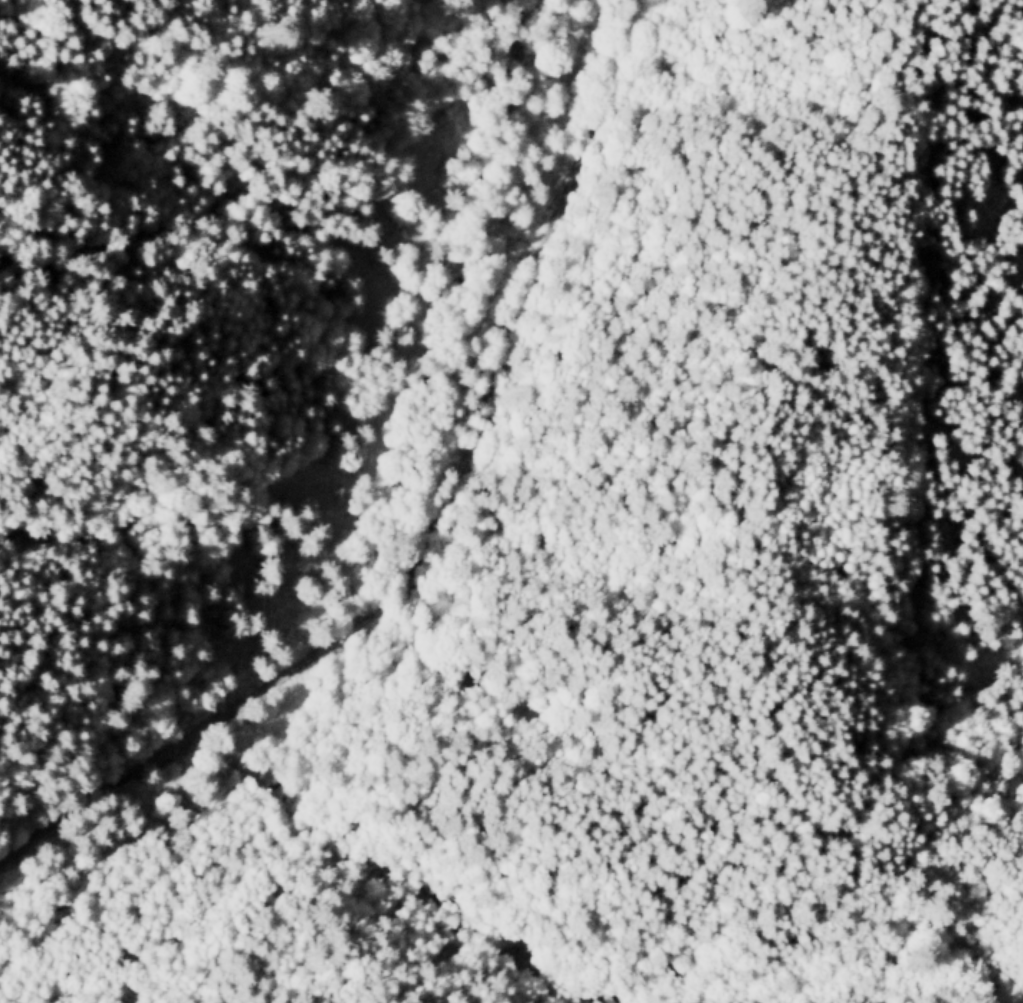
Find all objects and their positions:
road: (442, 524)
road: (914, 827)
road: (1022, 870)

